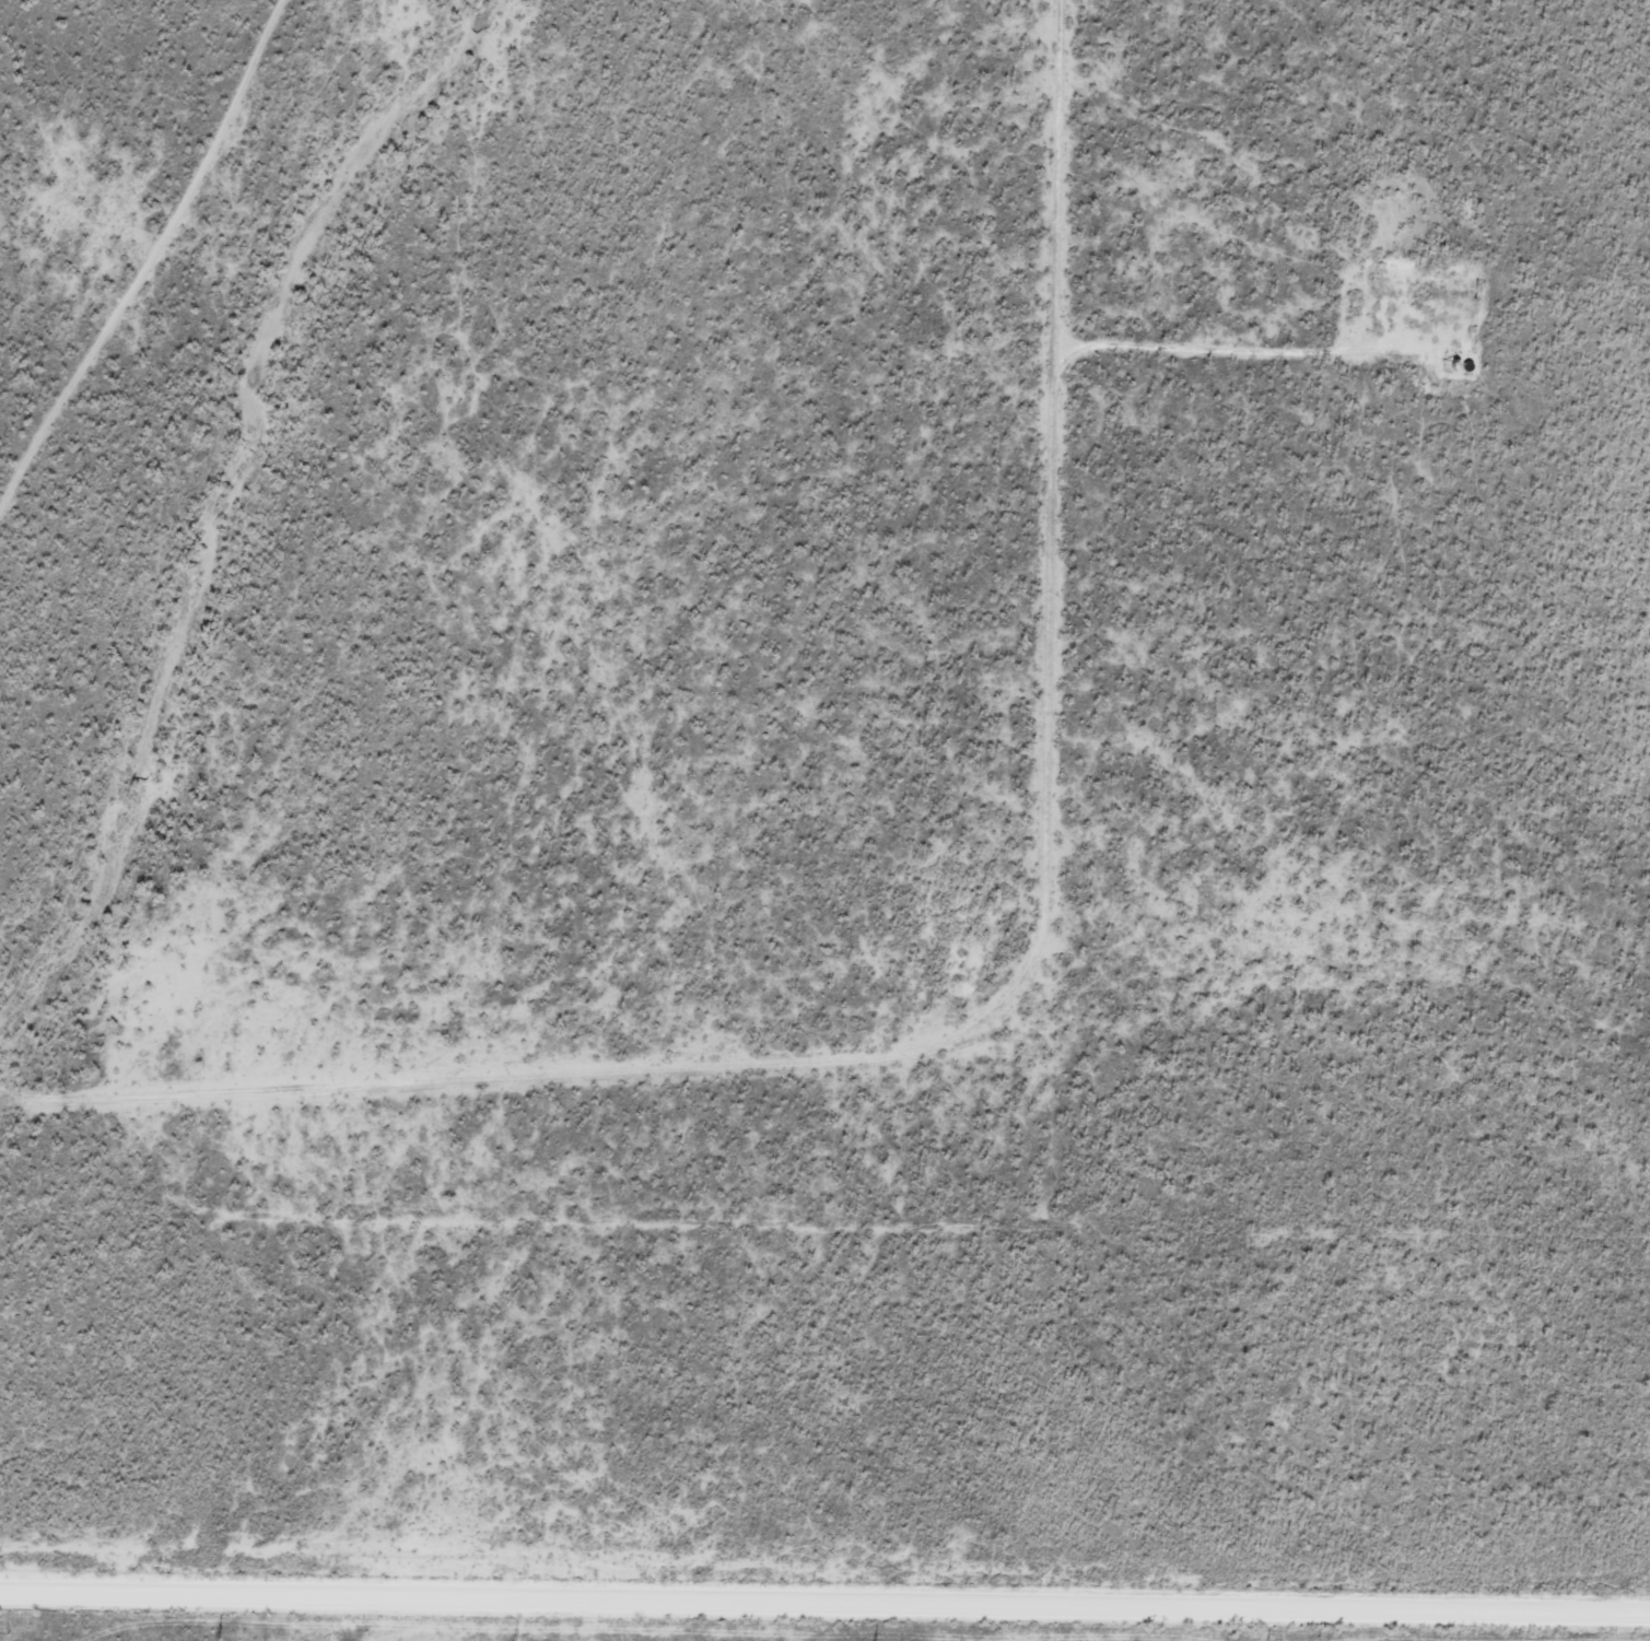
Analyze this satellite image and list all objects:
road: (162, 267)
road: (1023, 1076)
road: (824, 1595)

